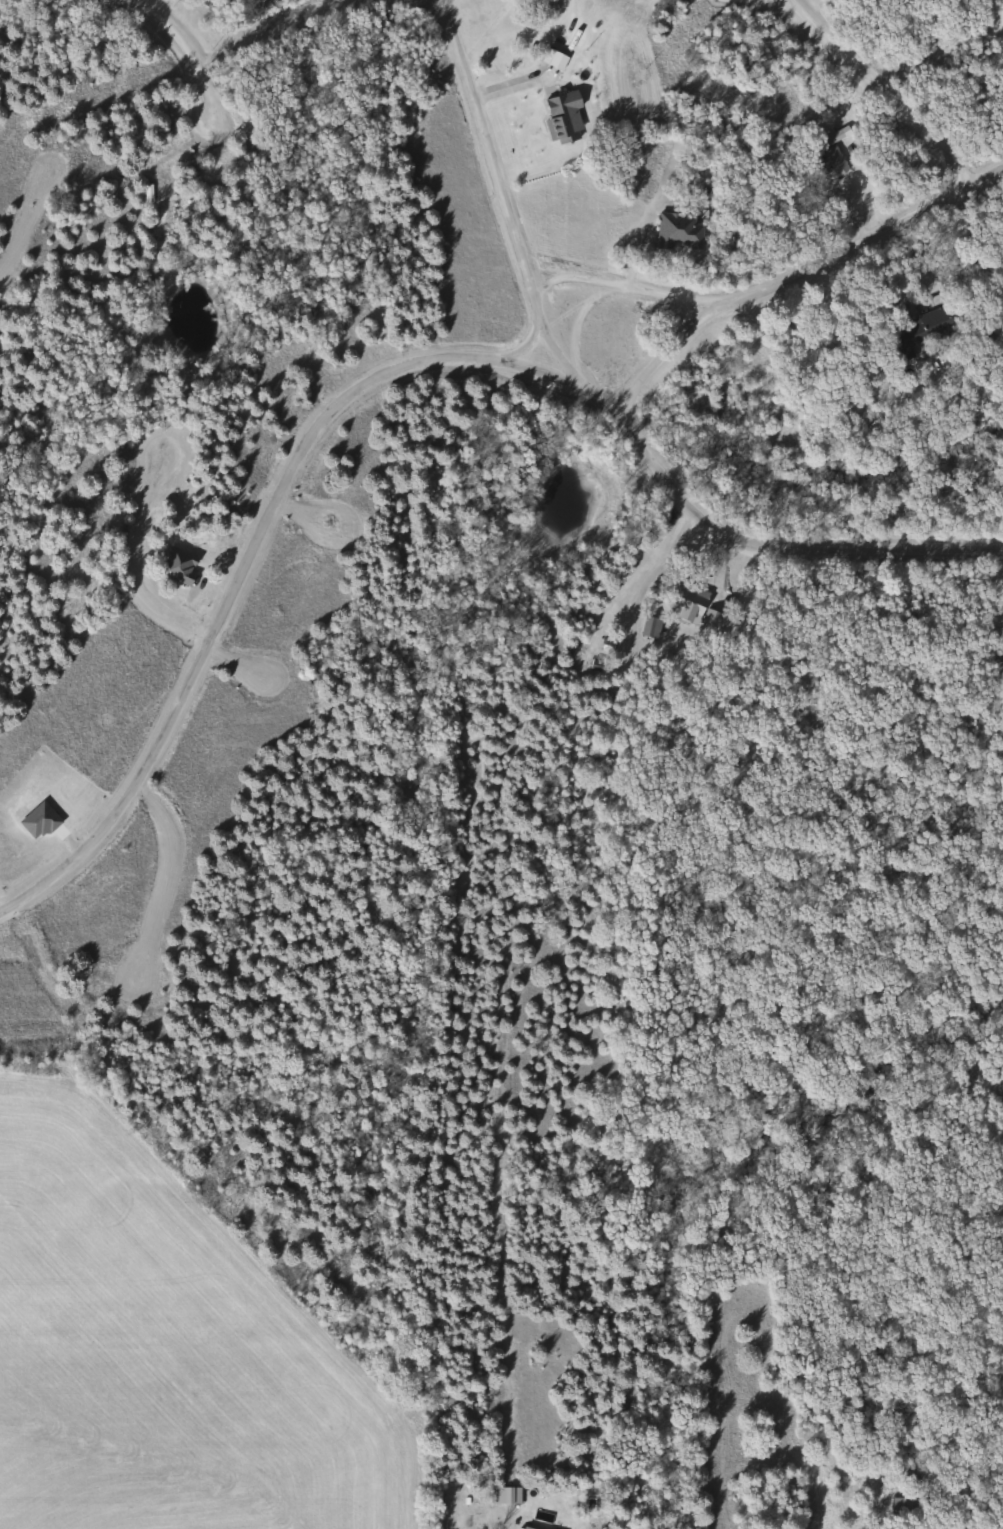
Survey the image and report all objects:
building: (555, 61)
road: (200, 75)
road: (885, 93)
building: (558, 116)
road: (486, 134)
building: (833, 160)
building: (158, 205)
road: (15, 213)
building: (675, 230)
road: (778, 289)
road: (544, 317)
building: (912, 334)
road: (663, 359)
road: (392, 366)
road: (311, 508)
building: (176, 567)
road: (146, 590)
building: (684, 601)
building: (1001, 628)
road: (166, 871)
road: (424, 1432)

